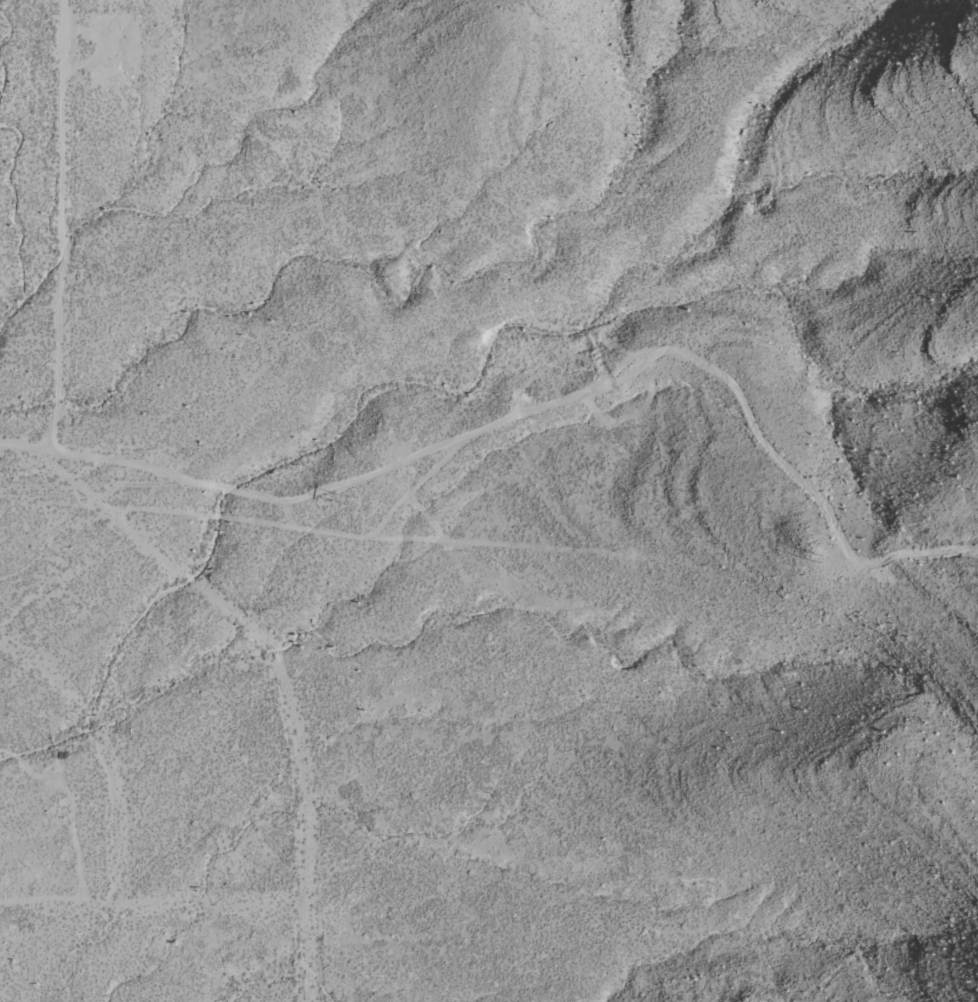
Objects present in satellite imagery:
road: (26, 448)
road: (123, 523)
road: (106, 747)
road: (151, 902)

